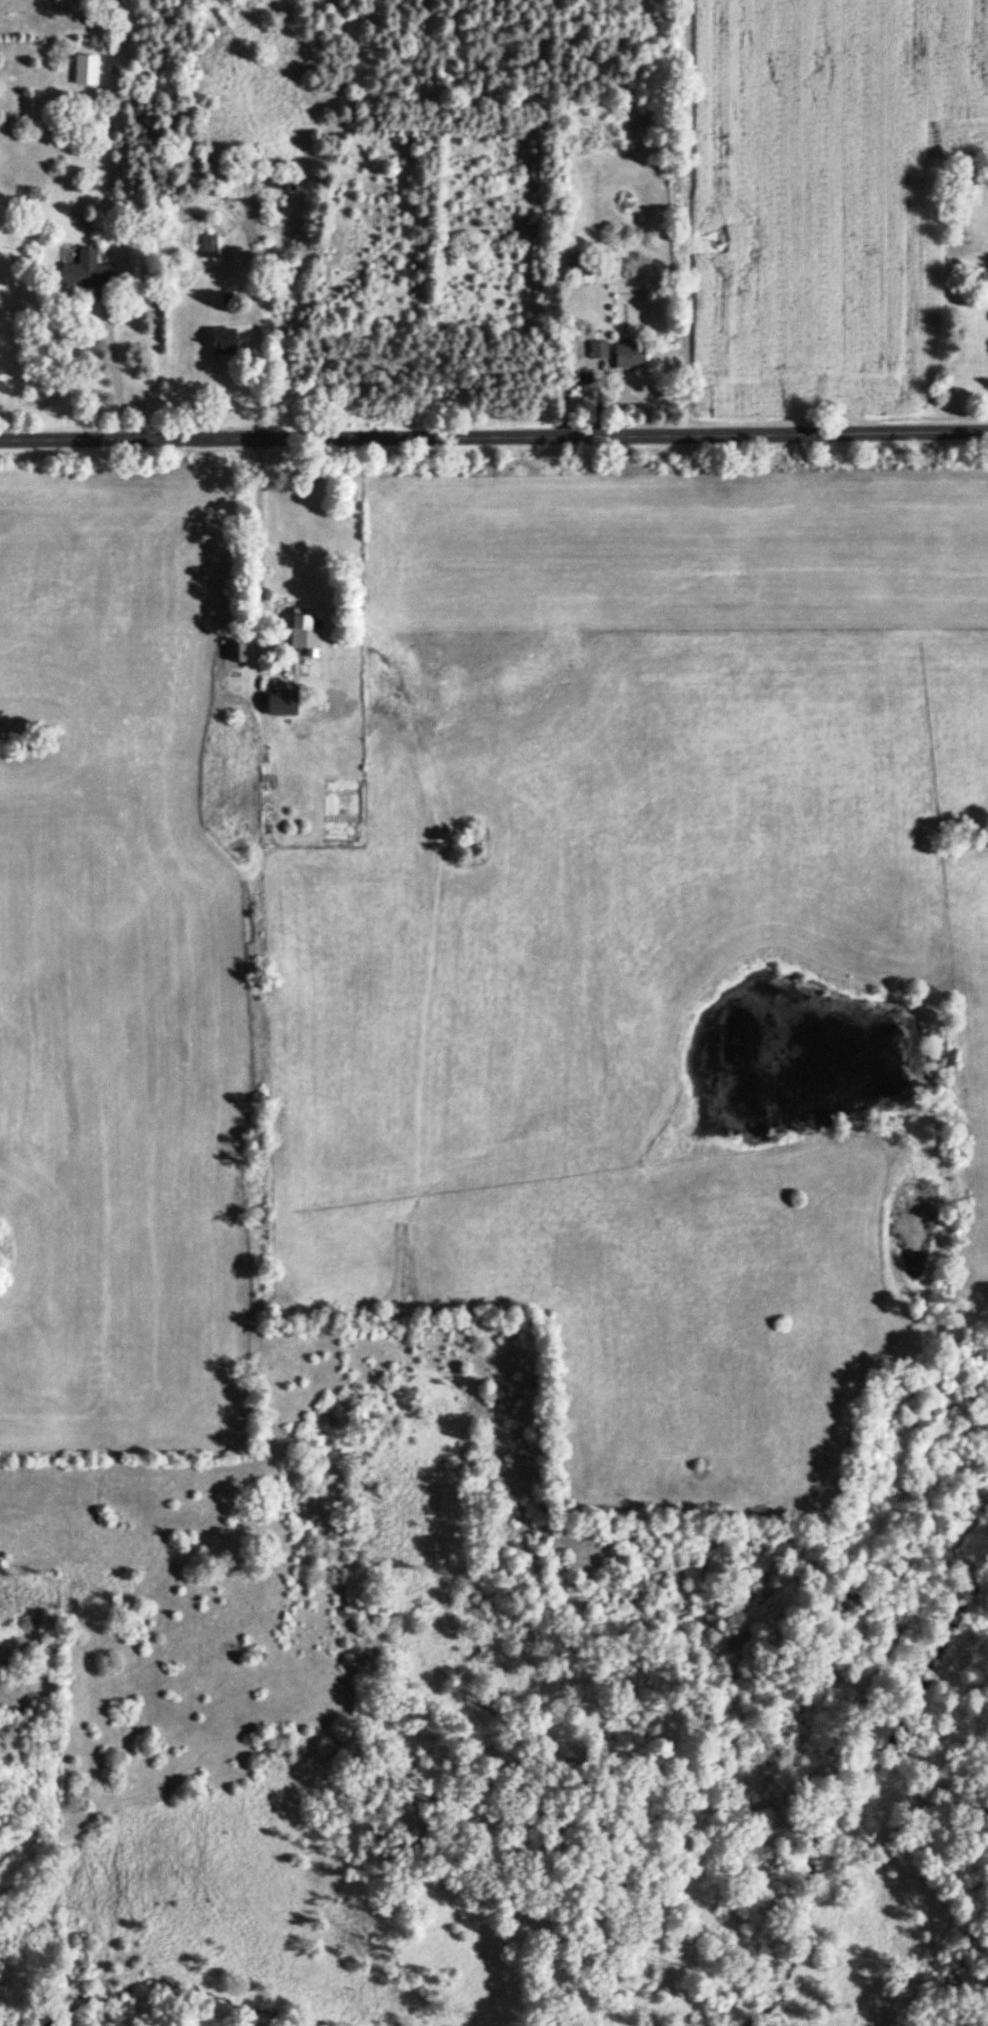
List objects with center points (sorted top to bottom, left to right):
building: (87, 71)
building: (210, 246)
building: (584, 270)
building: (88, 272)
building: (984, 278)
building: (226, 342)
building: (600, 350)
building: (631, 357)
road: (132, 381)
road: (494, 440)
road: (273, 548)
building: (308, 628)
building: (238, 652)
building: (283, 704)

